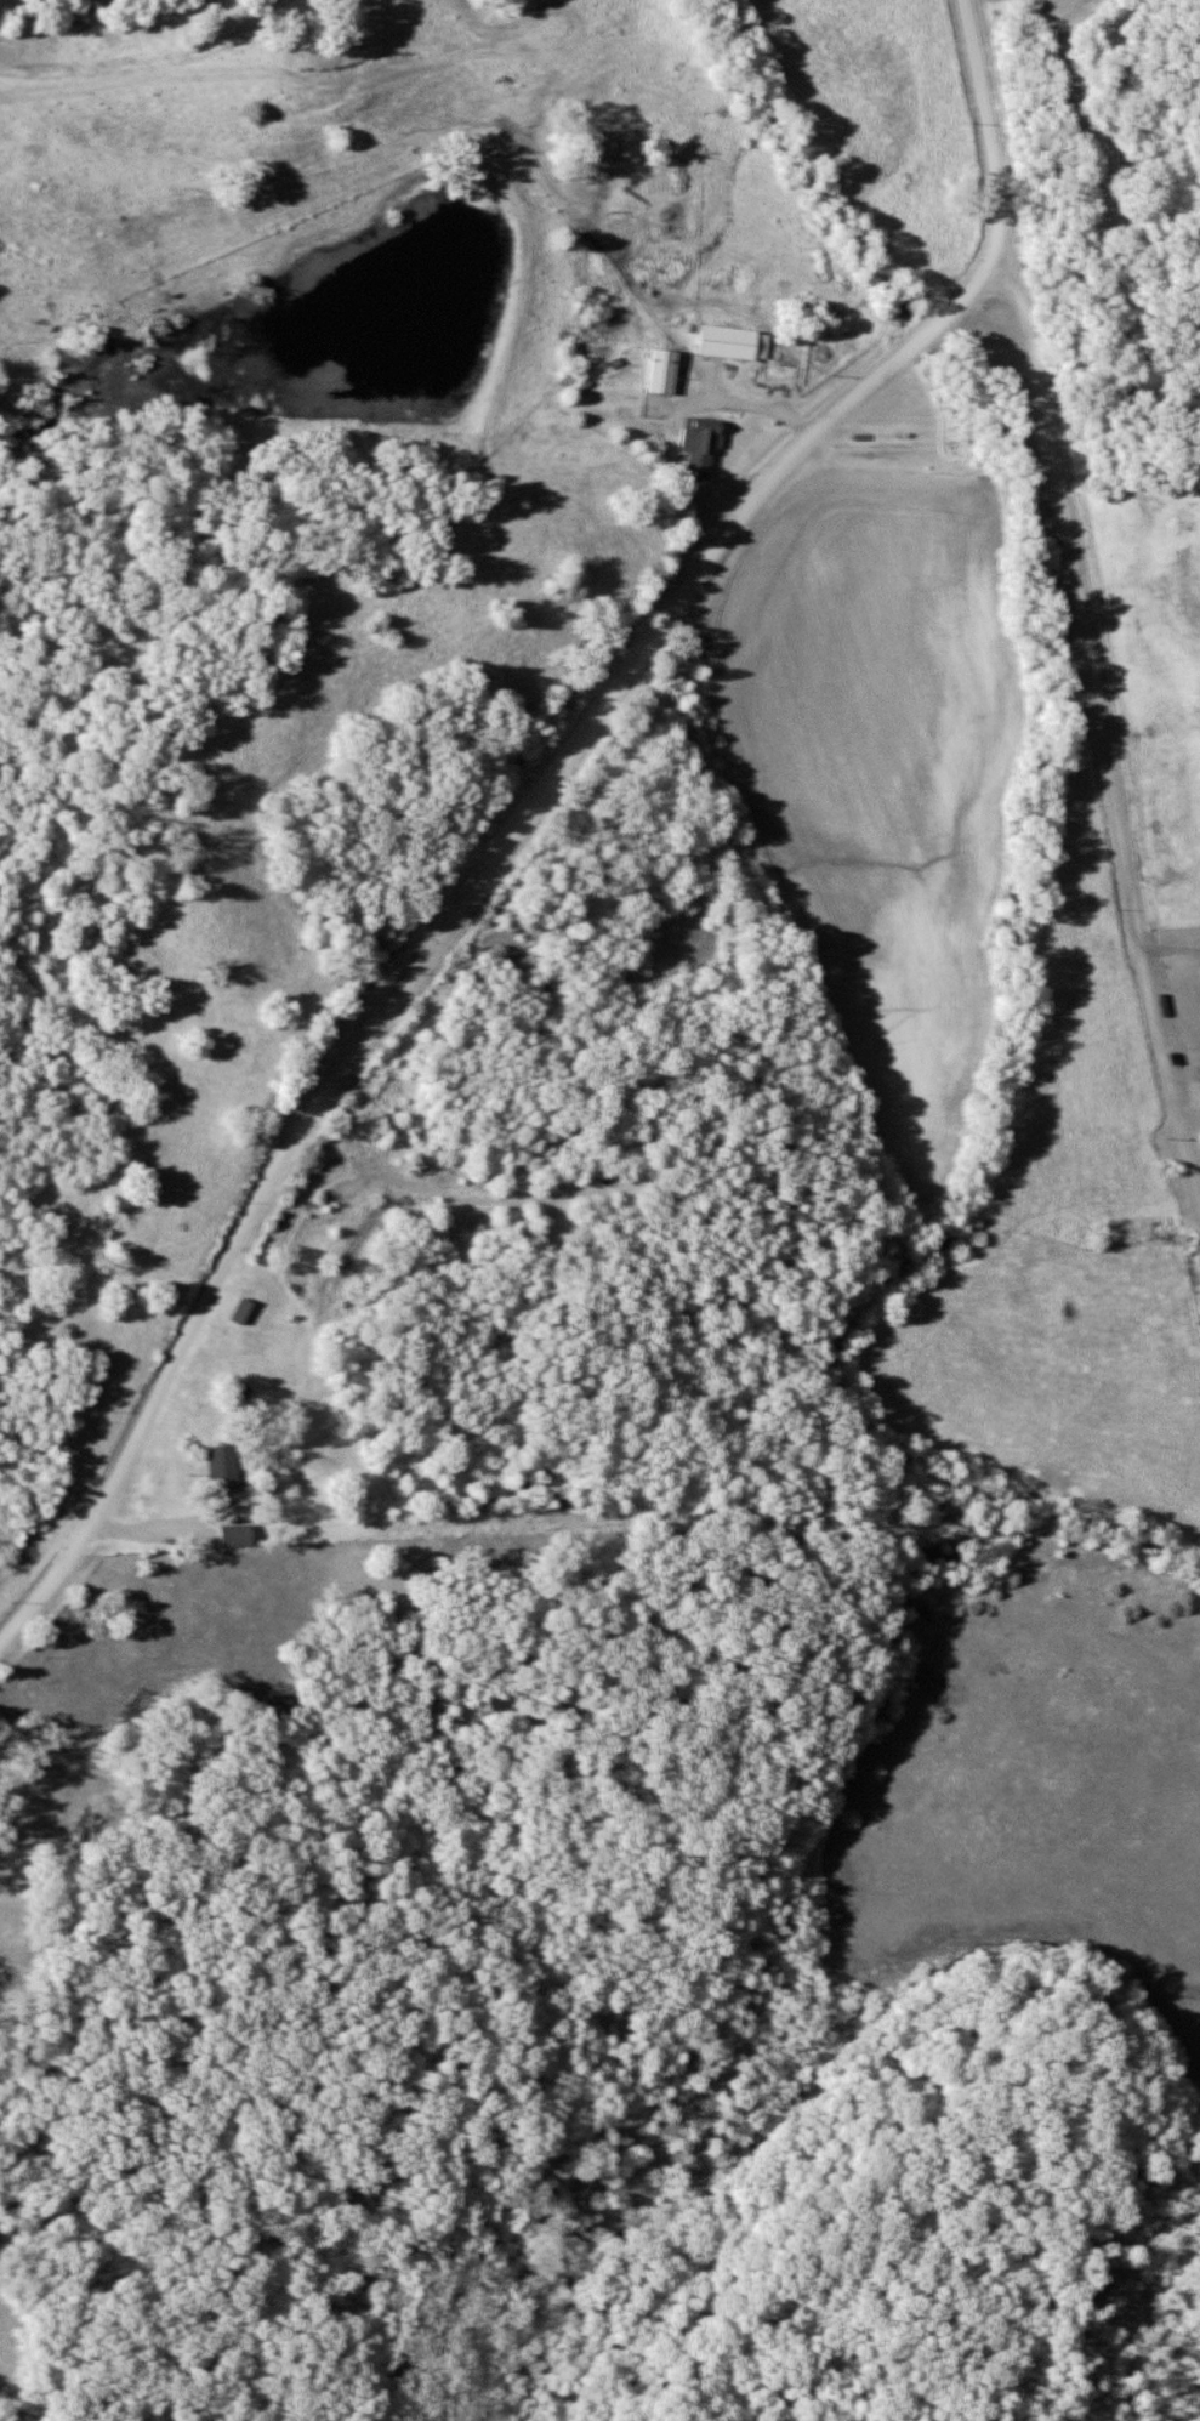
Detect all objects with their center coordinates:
road: (994, 277)
building: (735, 342)
building: (665, 371)
road: (747, 402)
building: (701, 447)
road: (1076, 610)
road: (444, 925)
road: (1196, 1190)
building: (244, 1312)
building: (224, 1468)
building: (237, 1536)

